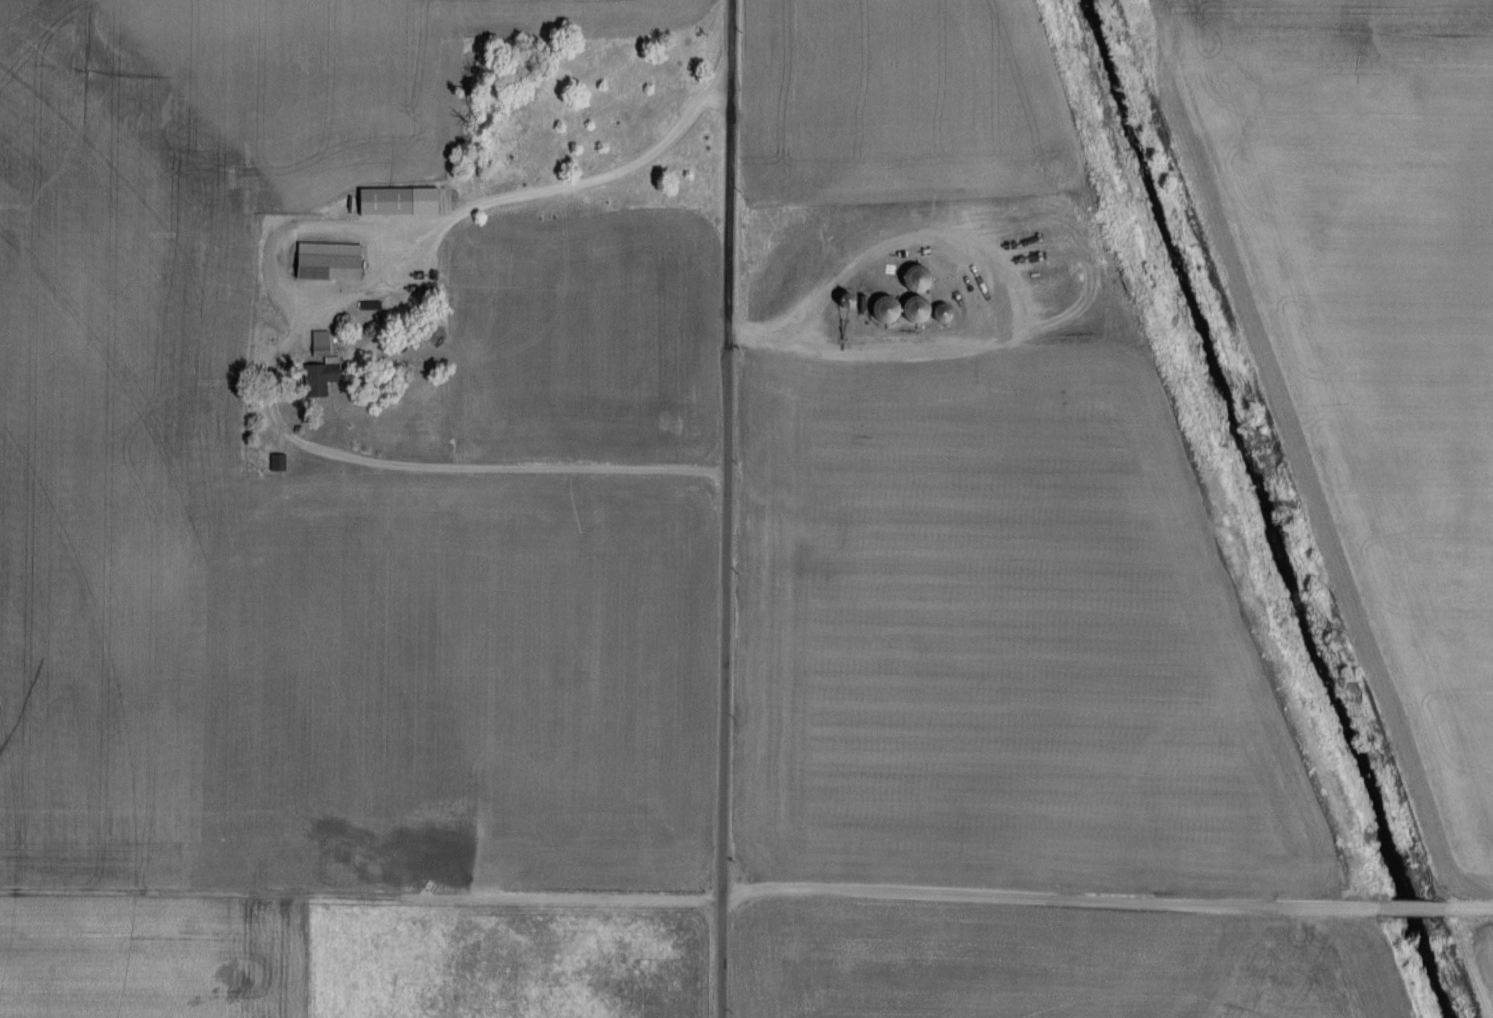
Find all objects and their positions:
road: (620, 167)
building: (405, 202)
building: (335, 262)
building: (925, 280)
building: (857, 300)
building: (893, 309)
building: (934, 310)
road: (1011, 316)
building: (326, 344)
building: (326, 380)
road: (729, 448)
river: (1247, 449)
road: (321, 450)
building: (283, 463)
building: (789, 553)
road: (746, 890)
river: (1412, 907)
road: (721, 957)
river: (1431, 968)

